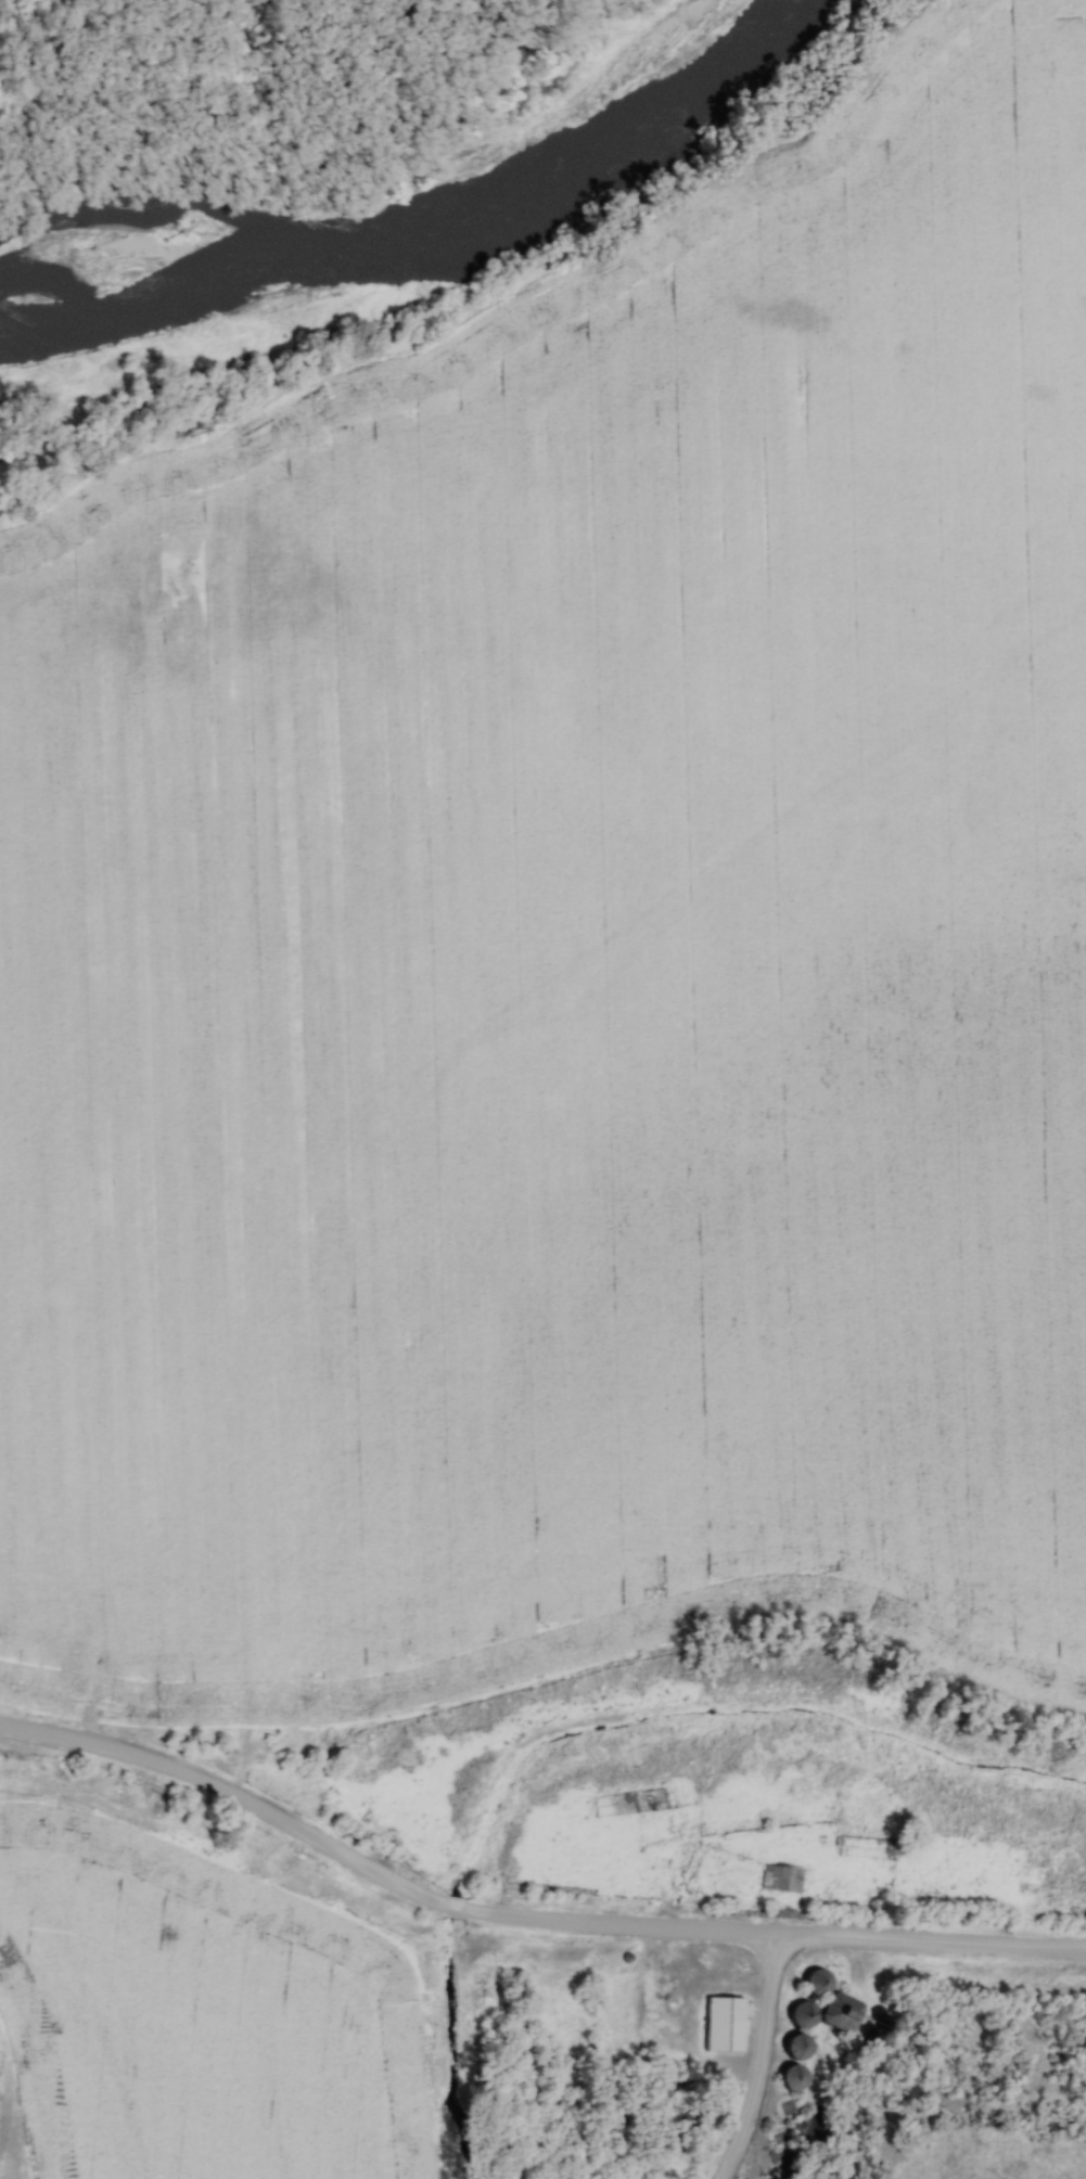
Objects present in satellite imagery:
river: (406, 219)
building: (639, 1800)
building: (781, 1877)
building: (879, 1911)
road: (523, 1917)
building: (812, 1983)
building: (838, 2012)
building: (798, 2015)
building: (720, 2024)
building: (794, 2047)
road: (763, 2061)
building: (788, 2077)

